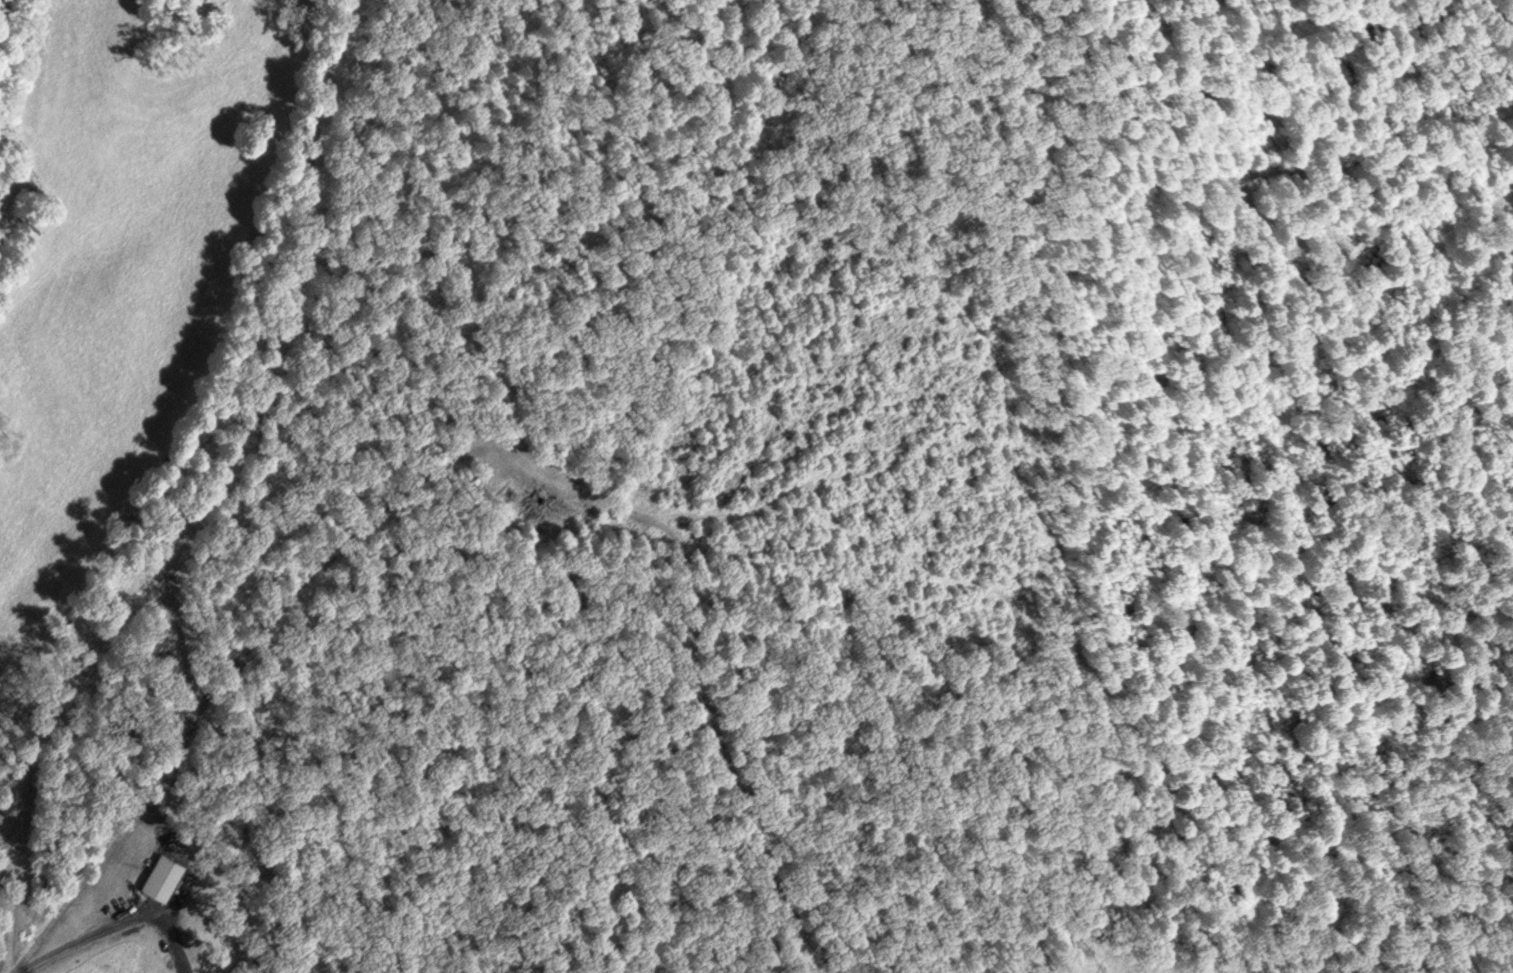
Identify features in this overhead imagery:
building: (166, 877)

